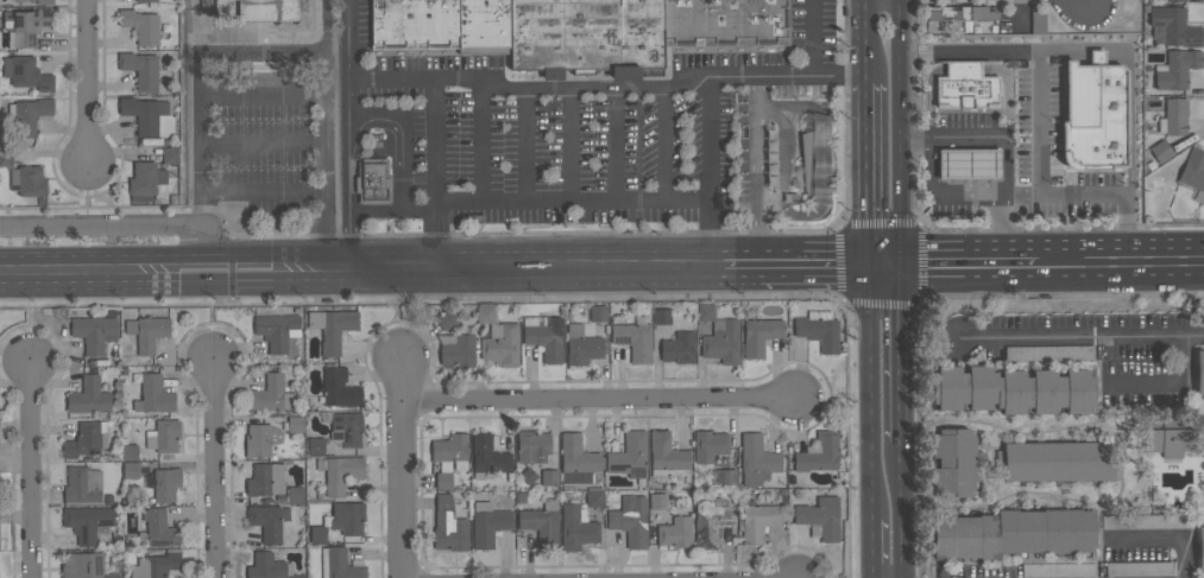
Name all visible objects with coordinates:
building: (1175, 0)
building: (38, 1)
building: (146, 1)
building: (258, 9)
building: (959, 14)
building: (1038, 23)
building: (26, 24)
building: (141, 26)
building: (1172, 27)
building: (576, 30)
road: (811, 38)
road: (871, 42)
road: (972, 50)
building: (140, 69)
building: (1177, 69)
building: (26, 72)
road: (727, 76)
road: (1130, 76)
road: (87, 82)
building: (965, 87)
road: (527, 89)
road: (260, 94)
road: (790, 102)
building: (29, 114)
building: (144, 114)
building: (1095, 115)
building: (1173, 116)
road: (776, 120)
road: (376, 122)
road: (903, 134)
road: (773, 135)
road: (1039, 136)
road: (437, 139)
road: (481, 141)
road: (261, 142)
road: (527, 145)
road: (571, 145)
road: (616, 145)
road: (664, 145)
road: (773, 146)
building: (1161, 151)
road: (1006, 153)
building: (170, 154)
building: (6, 157)
road: (773, 158)
building: (818, 159)
road: (821, 159)
building: (969, 164)
road: (773, 170)
road: (758, 172)
building: (1193, 172)
road: (870, 176)
building: (27, 180)
building: (145, 180)
building: (372, 180)
road: (771, 182)
road: (279, 188)
road: (1085, 190)
road: (89, 192)
road: (943, 192)
road: (783, 193)
road: (456, 203)
road: (114, 222)
road: (1127, 226)
road: (439, 235)
road: (347, 240)
road: (175, 255)
road: (1121, 263)
road: (970, 267)
road: (535, 268)
road: (738, 269)
road: (812, 269)
traffic signals: (870, 269)
road: (885, 269)
traffic signals: (902, 269)
road: (175, 286)
road: (401, 307)
building: (705, 312)
building: (485, 313)
building: (598, 313)
building: (662, 316)
building: (445, 319)
road: (215, 323)
road: (31, 326)
building: (332, 328)
building: (819, 329)
building: (277, 330)
building: (95, 331)
building: (147, 331)
building: (544, 336)
building: (759, 336)
road: (1083, 337)
building: (635, 338)
building: (723, 342)
building: (500, 344)
building: (584, 345)
building: (679, 348)
building: (456, 350)
road: (903, 355)
building: (1199, 371)
road: (1168, 383)
building: (339, 387)
building: (1014, 389)
building: (271, 394)
road: (870, 394)
building: (90, 395)
building: (153, 395)
road: (837, 396)
road: (603, 399)
building: (295, 424)
building: (347, 430)
building: (163, 436)
building: (86, 439)
building: (260, 439)
building: (1168, 442)
building: (710, 445)
building: (316, 446)
building: (532, 446)
building: (130, 452)
building: (450, 452)
building: (666, 453)
building: (819, 453)
building: (487, 456)
building: (630, 456)
building: (756, 459)
building: (1055, 461)
road: (402, 462)
building: (578, 462)
building: (954, 462)
road: (216, 469)
building: (131, 470)
road: (33, 471)
building: (339, 472)
building: (528, 476)
building: (549, 477)
building: (723, 477)
building: (265, 479)
building: (443, 481)
building: (165, 483)
building: (82, 484)
building: (295, 494)
building: (594, 498)
building: (657, 501)
road: (904, 509)
building: (346, 517)
building: (820, 517)
building: (267, 520)
building: (630, 520)
building: (757, 520)
building: (712, 521)
building: (87, 522)
building: (542, 522)
building: (488, 523)
building: (449, 526)
building: (576, 528)
building: (155, 529)
building: (675, 532)
building: (1013, 533)
building: (317, 534)
road: (1167, 539)
road: (874, 548)
building: (1200, 548)
building: (340, 564)
building: (82, 565)
building: (156, 565)
building: (269, 566)
building: (1139, 569)
building: (1058, 570)
building: (296, 576)
building: (112, 577)

